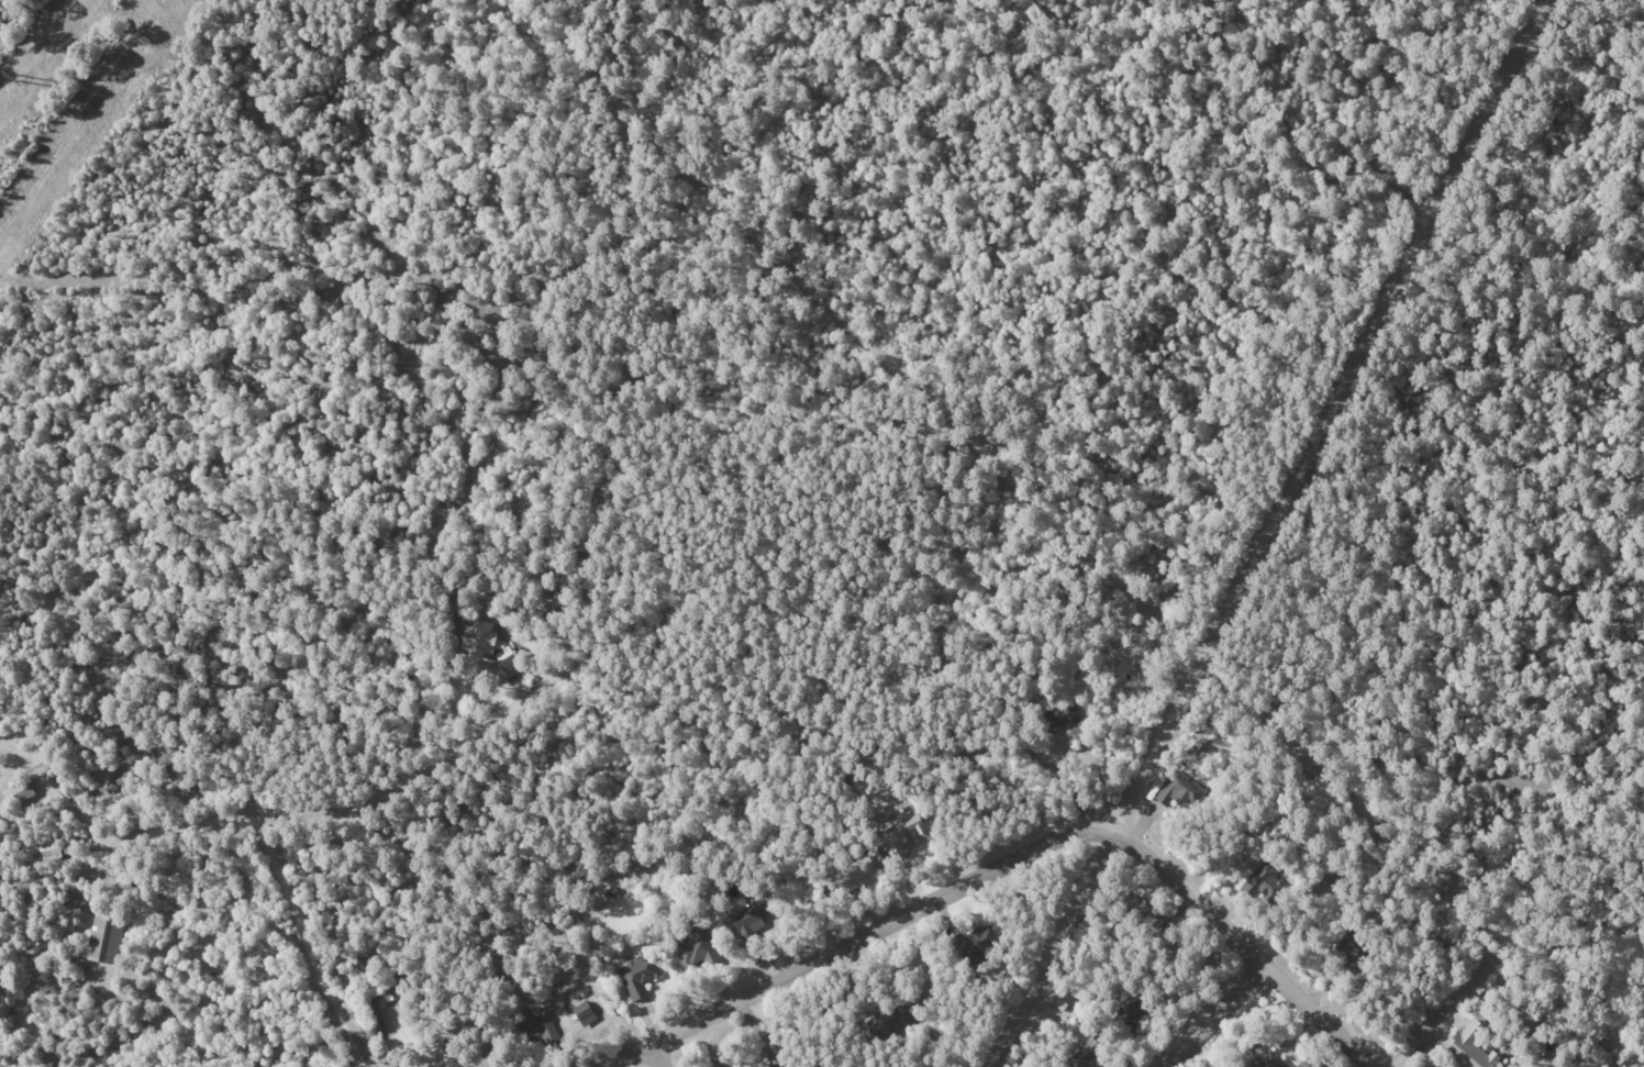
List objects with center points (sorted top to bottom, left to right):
power tower: (144, 43)
power tower: (14, 78)
building: (487, 642)
building: (1179, 790)
building: (900, 829)
road: (245, 831)
building: (857, 875)
building: (1264, 883)
road: (946, 894)
building: (749, 919)
building: (105, 940)
road: (311, 946)
building: (696, 949)
building: (637, 976)
road: (1453, 1012)
building: (585, 1013)
road: (1214, 1014)
road: (1317, 1014)
building: (541, 1029)
building: (1470, 1047)
road: (657, 1056)
building: (1308, 1063)
building: (1273, 1065)

